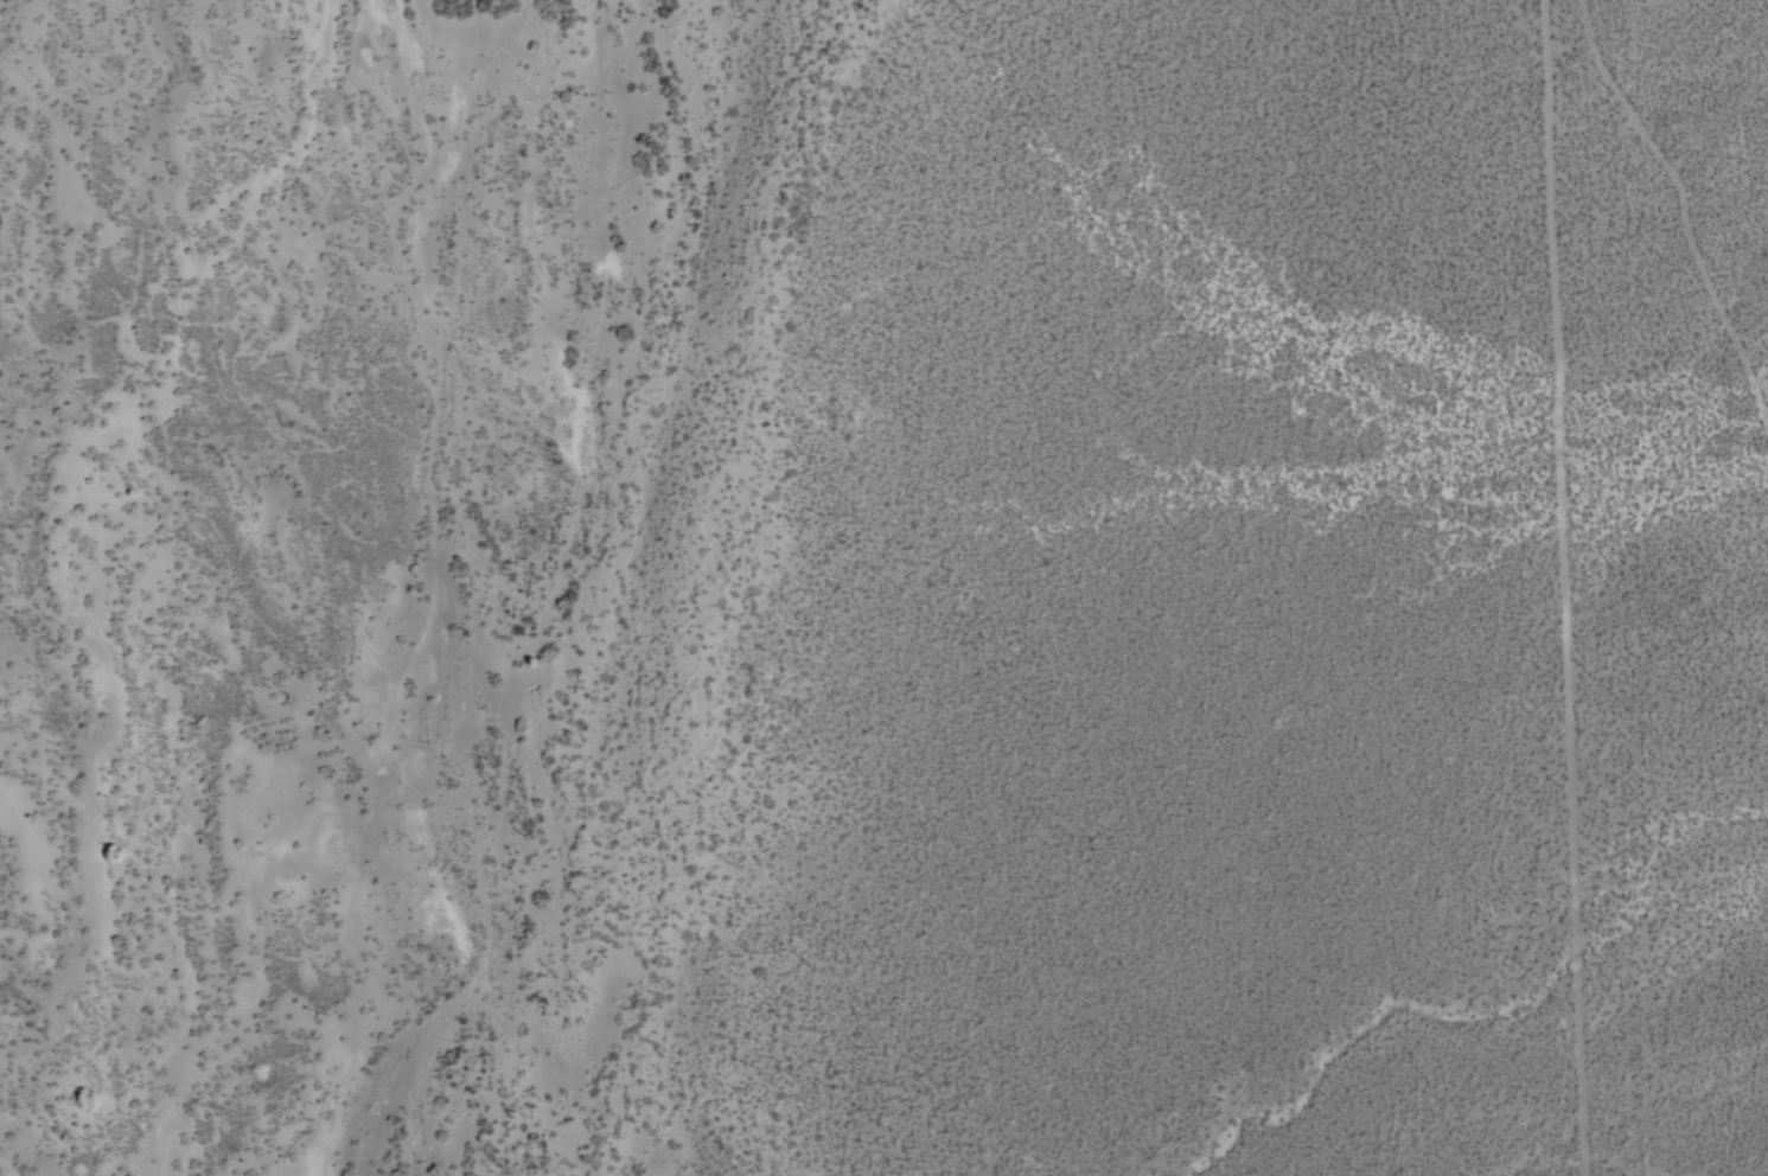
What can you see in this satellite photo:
road: (1687, 199)
road: (1568, 588)

